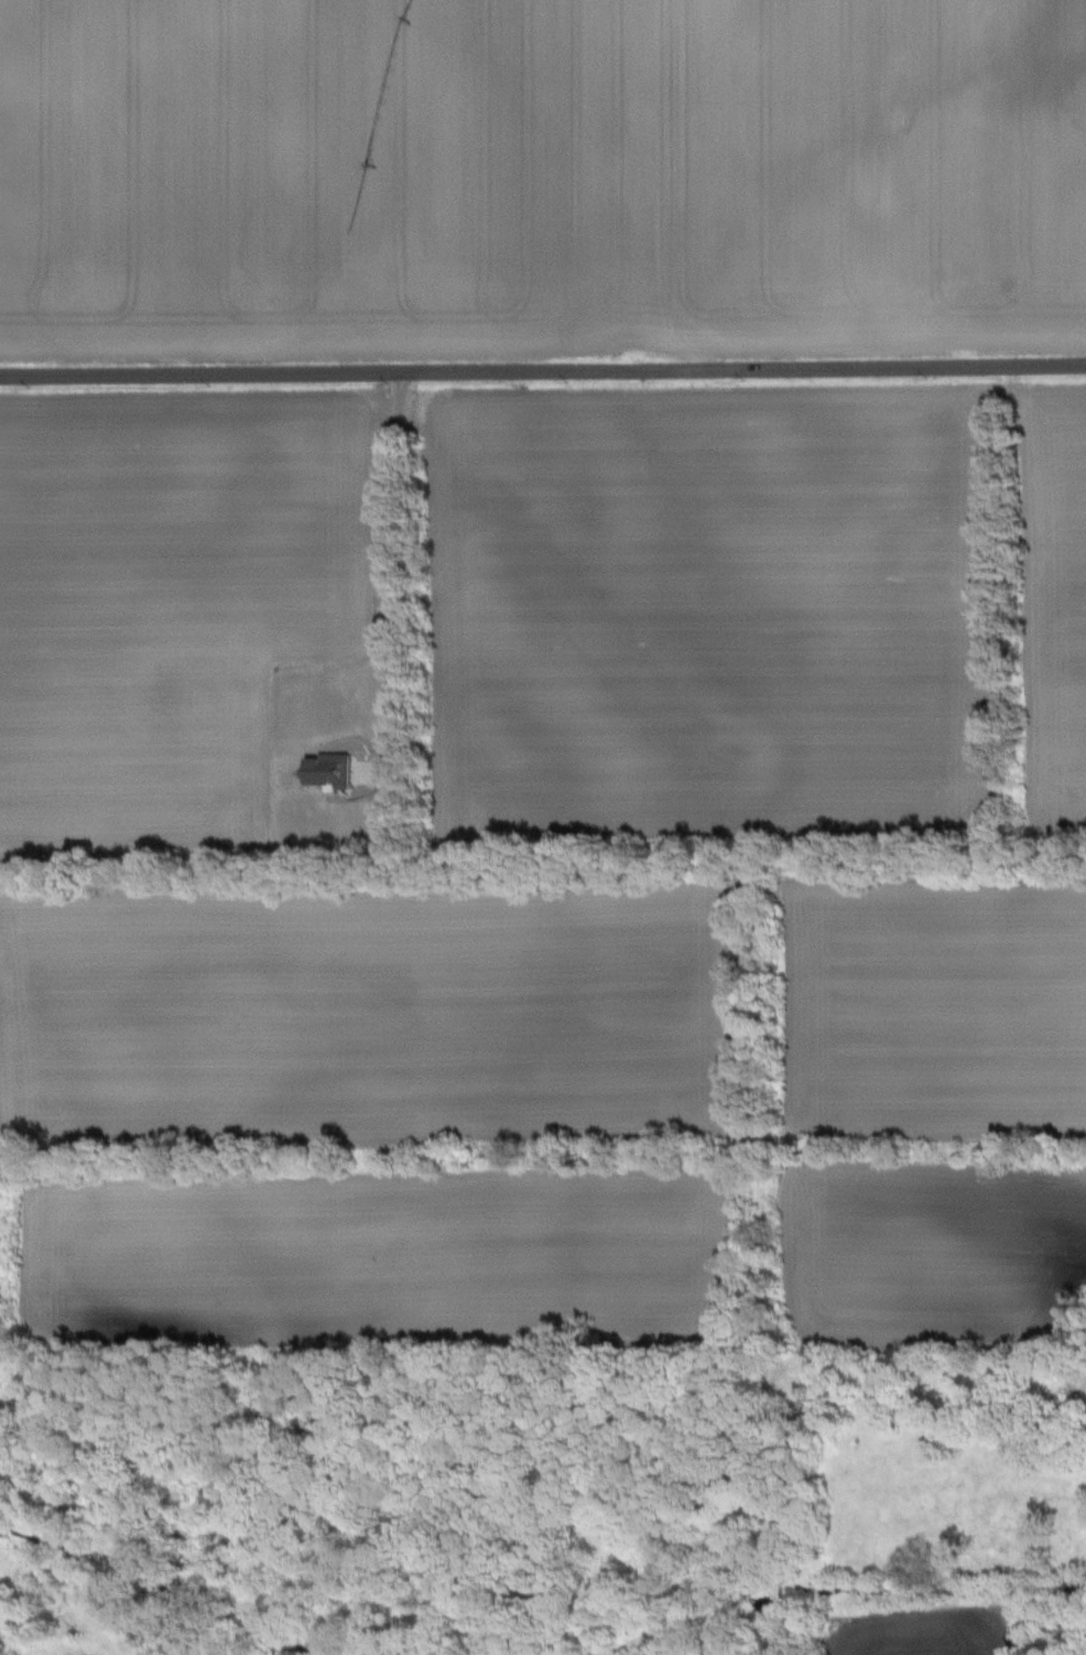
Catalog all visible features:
road: (542, 371)
road: (389, 567)

